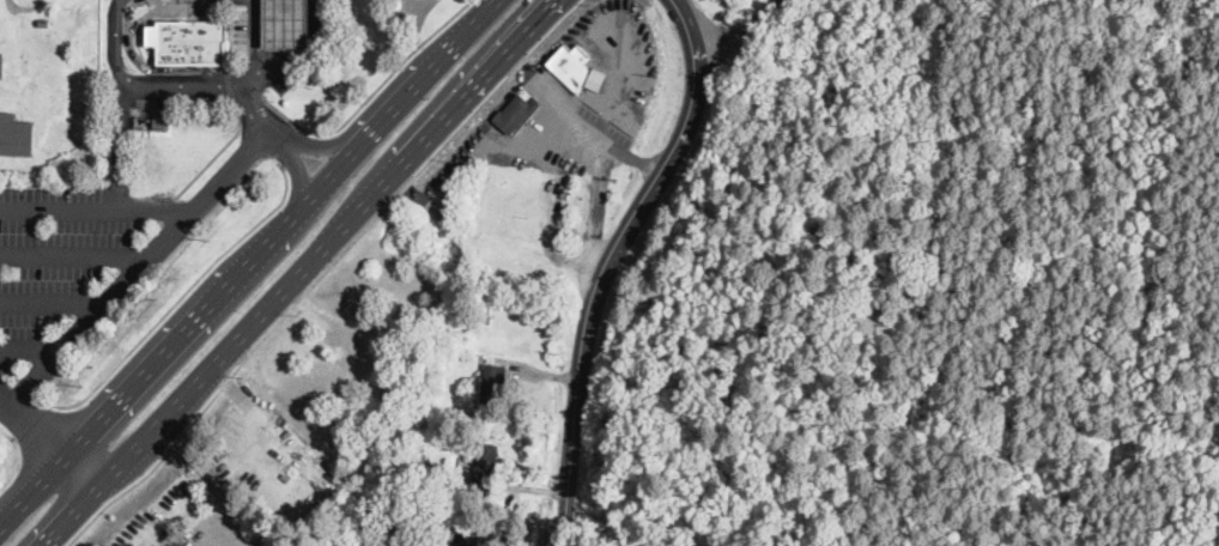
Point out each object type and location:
road: (489, 4)
road: (183, 7)
parking lot: (200, 8)
road: (128, 16)
building: (46, 23)
building: (289, 24)
parking lot: (242, 34)
road: (738, 34)
building: (192, 43)
road: (308, 51)
building: (2, 66)
road: (145, 66)
building: (570, 67)
road: (253, 69)
parking lot: (284, 77)
building: (598, 80)
road: (184, 83)
road: (231, 89)
road: (369, 93)
parking lot: (186, 96)
road: (122, 102)
road: (253, 111)
building: (515, 114)
road: (582, 116)
building: (162, 122)
building: (16, 135)
road: (293, 146)
road: (213, 156)
road: (96, 205)
road: (598, 208)
road: (166, 239)
parking lot: (56, 256)
road: (74, 257)
road: (247, 261)
road: (612, 262)
road: (298, 273)
road: (322, 273)
road: (181, 292)
road: (53, 304)
road: (370, 340)
building: (395, 341)
road: (31, 350)
building: (493, 383)
building: (402, 388)
road: (12, 402)
road: (30, 419)
road: (62, 448)
building: (382, 456)
road: (17, 460)
building: (485, 468)
road: (211, 475)
building: (396, 490)
building: (475, 535)
building: (359, 542)
building: (169, 545)

